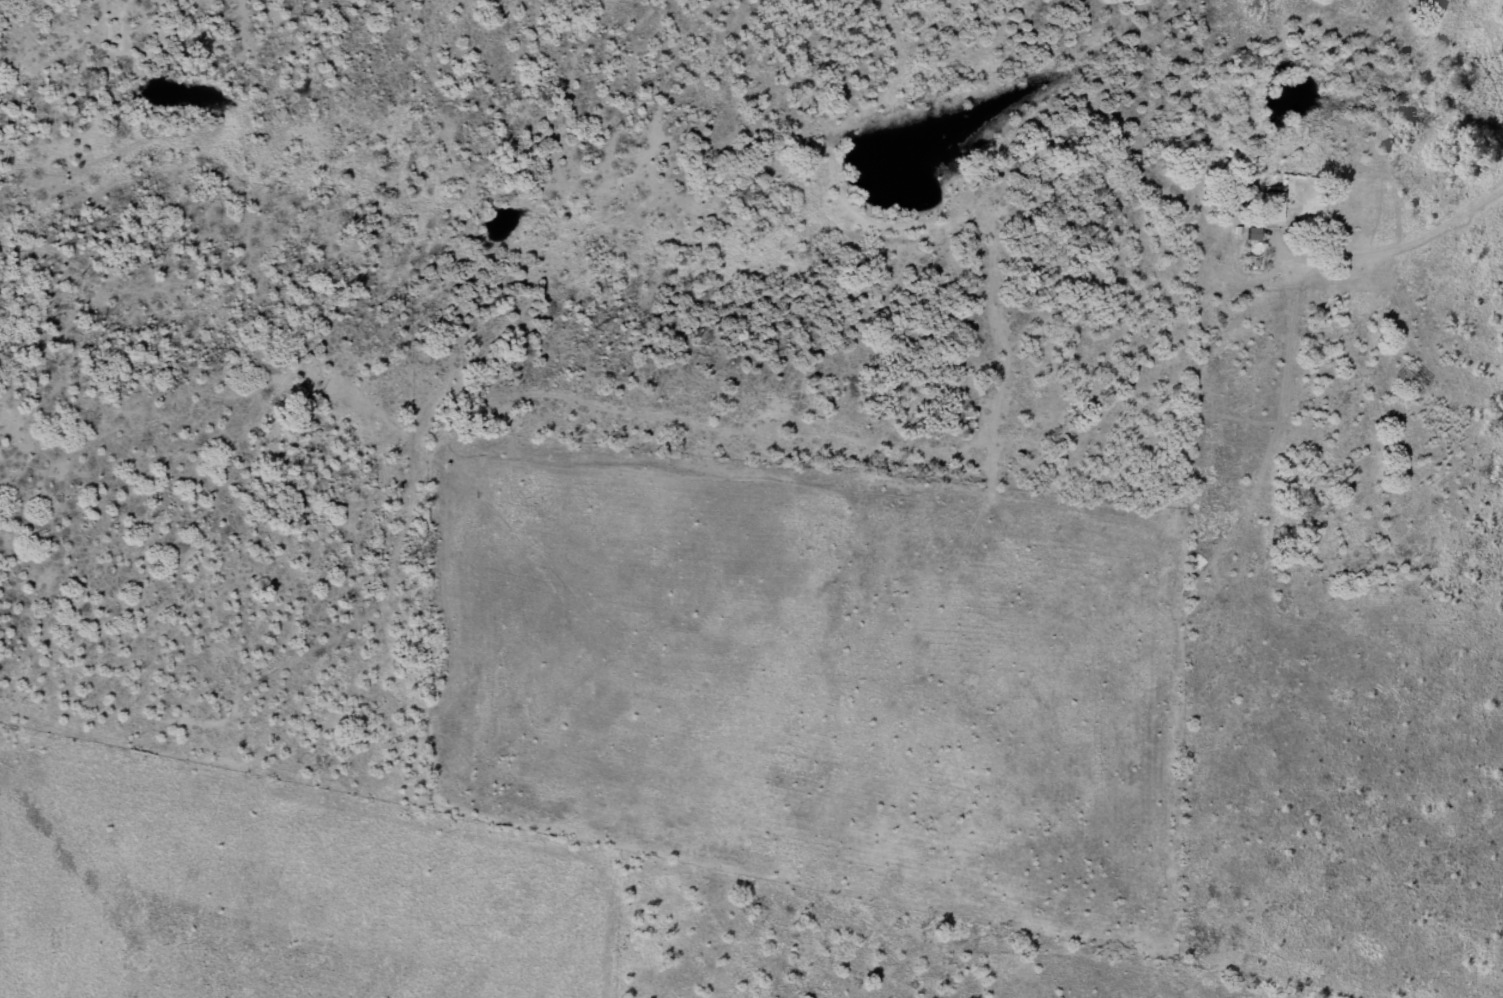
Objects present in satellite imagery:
building: (1272, 210)
building: (1252, 237)
road: (1339, 279)
building: (1411, 379)

